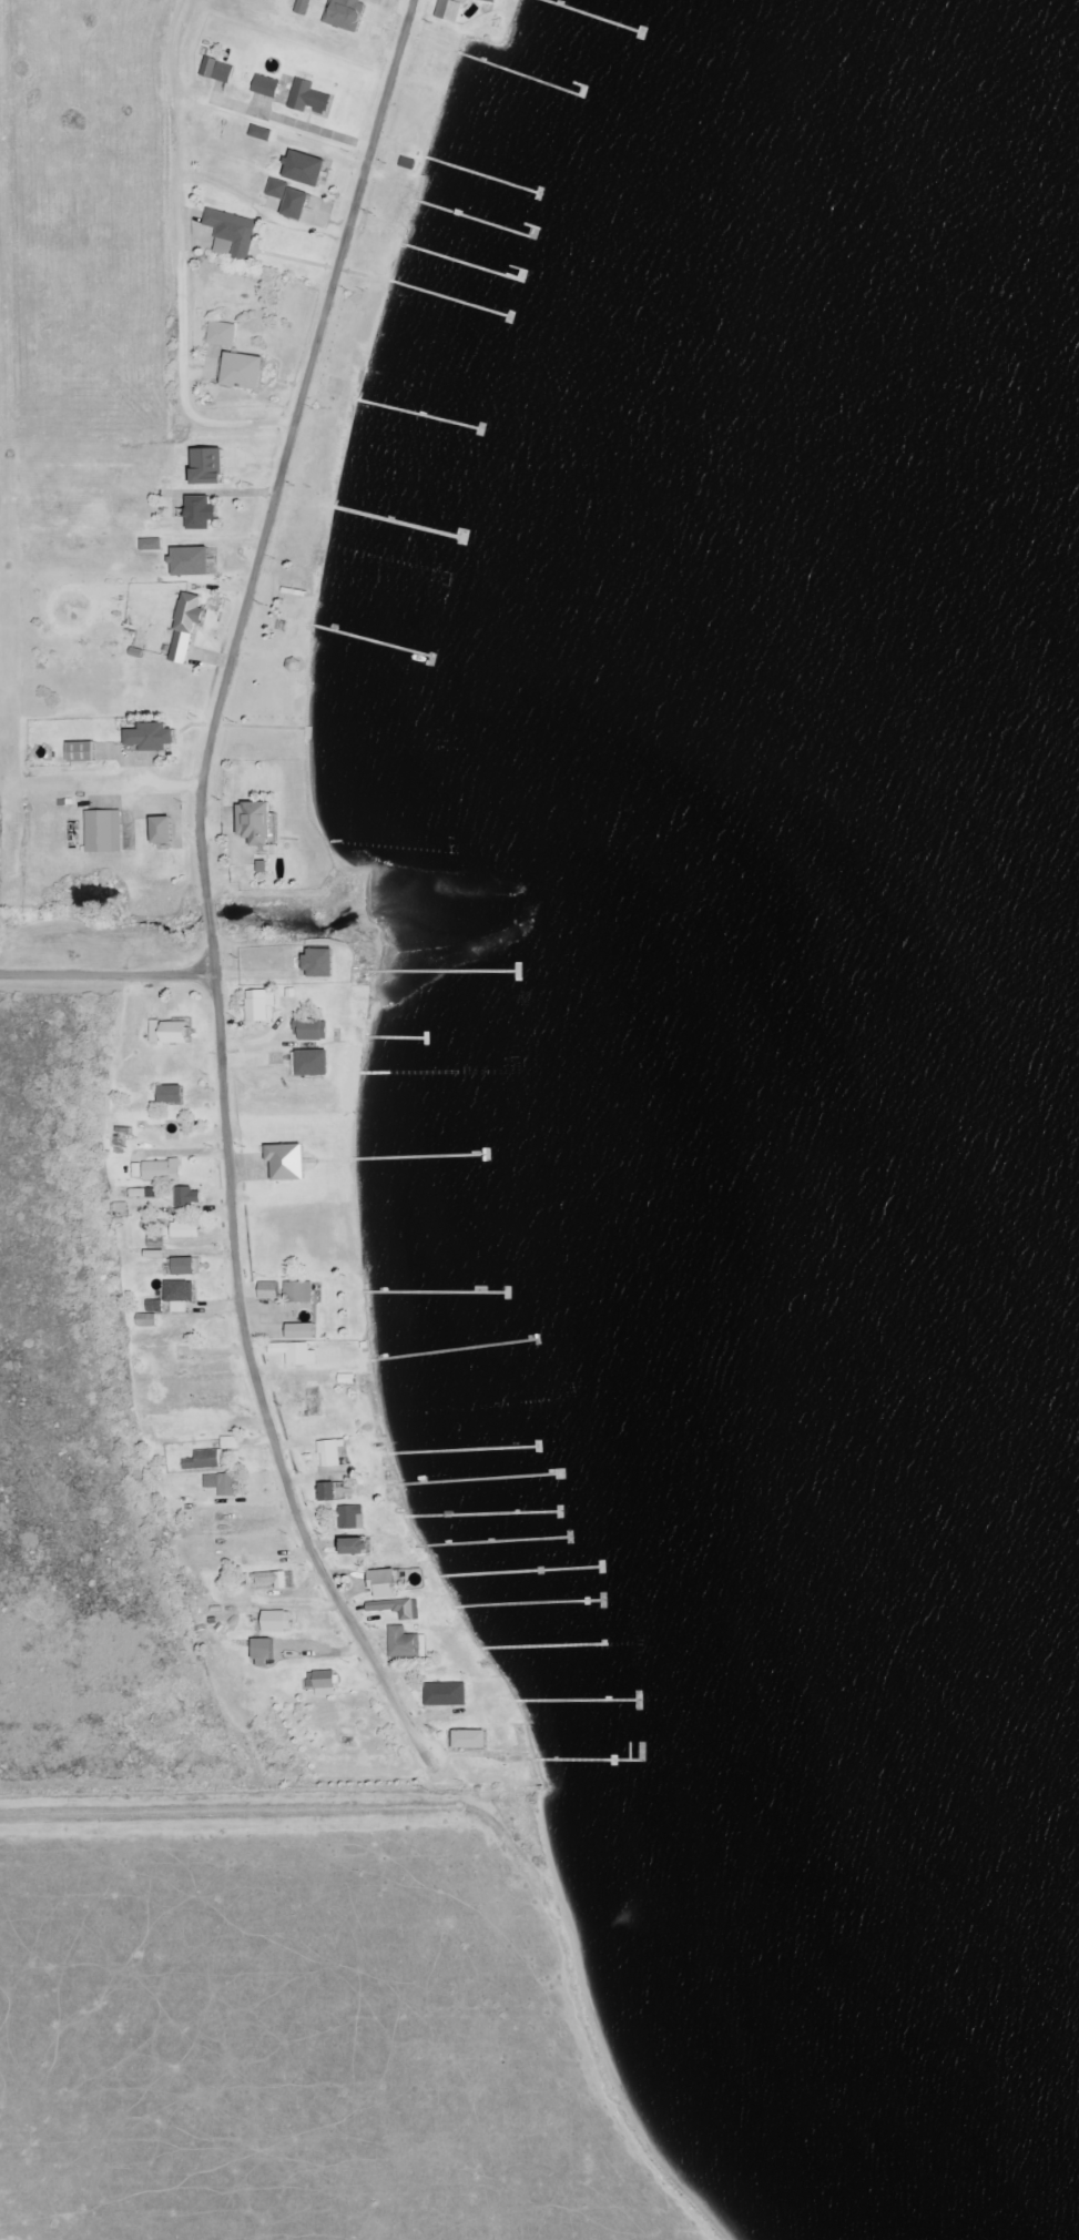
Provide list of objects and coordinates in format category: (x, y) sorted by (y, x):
building: (492, 0)
building: (304, 7)
building: (449, 10)
building: (346, 13)
pier: (592, 17)
building: (217, 70)
pier: (519, 74)
building: (266, 87)
building: (309, 98)
building: (262, 133)
building: (307, 168)
pier: (481, 174)
building: (279, 189)
building: (297, 203)
pier: (472, 220)
building: (233, 233)
road: (180, 260)
pier: (460, 262)
pier: (448, 298)
building: (223, 334)
building: (246, 371)
pier: (419, 414)
building: (212, 466)
building: (204, 513)
pier: (397, 524)
building: (152, 545)
building: (193, 561)
building: (187, 627)
pier: (377, 641)
building: (153, 738)
building: (84, 753)
building: (258, 823)
building: (165, 831)
building: (105, 832)
road: (207, 889)
building: (322, 963)
road: (108, 970)
pier: (438, 971)
building: (261, 1005)
building: (312, 1030)
building: (171, 1032)
pier: (398, 1038)
building: (315, 1062)
pier: (374, 1072)
building: (174, 1094)
pier: (423, 1157)
building: (289, 1162)
building: (162, 1169)
building: (190, 1197)
building: (185, 1230)
building: (157, 1243)
building: (189, 1266)
building: (269, 1290)
building: (299, 1291)
pier: (435, 1293)
building: (181, 1295)
pier: (507, 1295)
building: (155, 1306)
building: (146, 1320)
building: (303, 1331)
pier: (454, 1350)
building: (295, 1354)
pier: (537, 1448)
pier: (462, 1451)
building: (332, 1453)
building: (204, 1460)
pier: (479, 1479)
building: (228, 1486)
building: (329, 1492)
pier: (559, 1511)
pier: (481, 1513)
building: (352, 1517)
pier: (570, 1534)
pier: (498, 1542)
building: (359, 1547)
pier: (602, 1567)
pier: (520, 1572)
building: (272, 1579)
building: (387, 1583)
pier: (532, 1603)
pier: (603, 1604)
building: (395, 1609)
building: (278, 1621)
building: (406, 1643)
pier: (541, 1648)
building: (265, 1653)
building: (325, 1683)
building: (446, 1694)
pier: (572, 1701)
pier: (639, 1701)
building: (471, 1740)
pier: (597, 1761)

